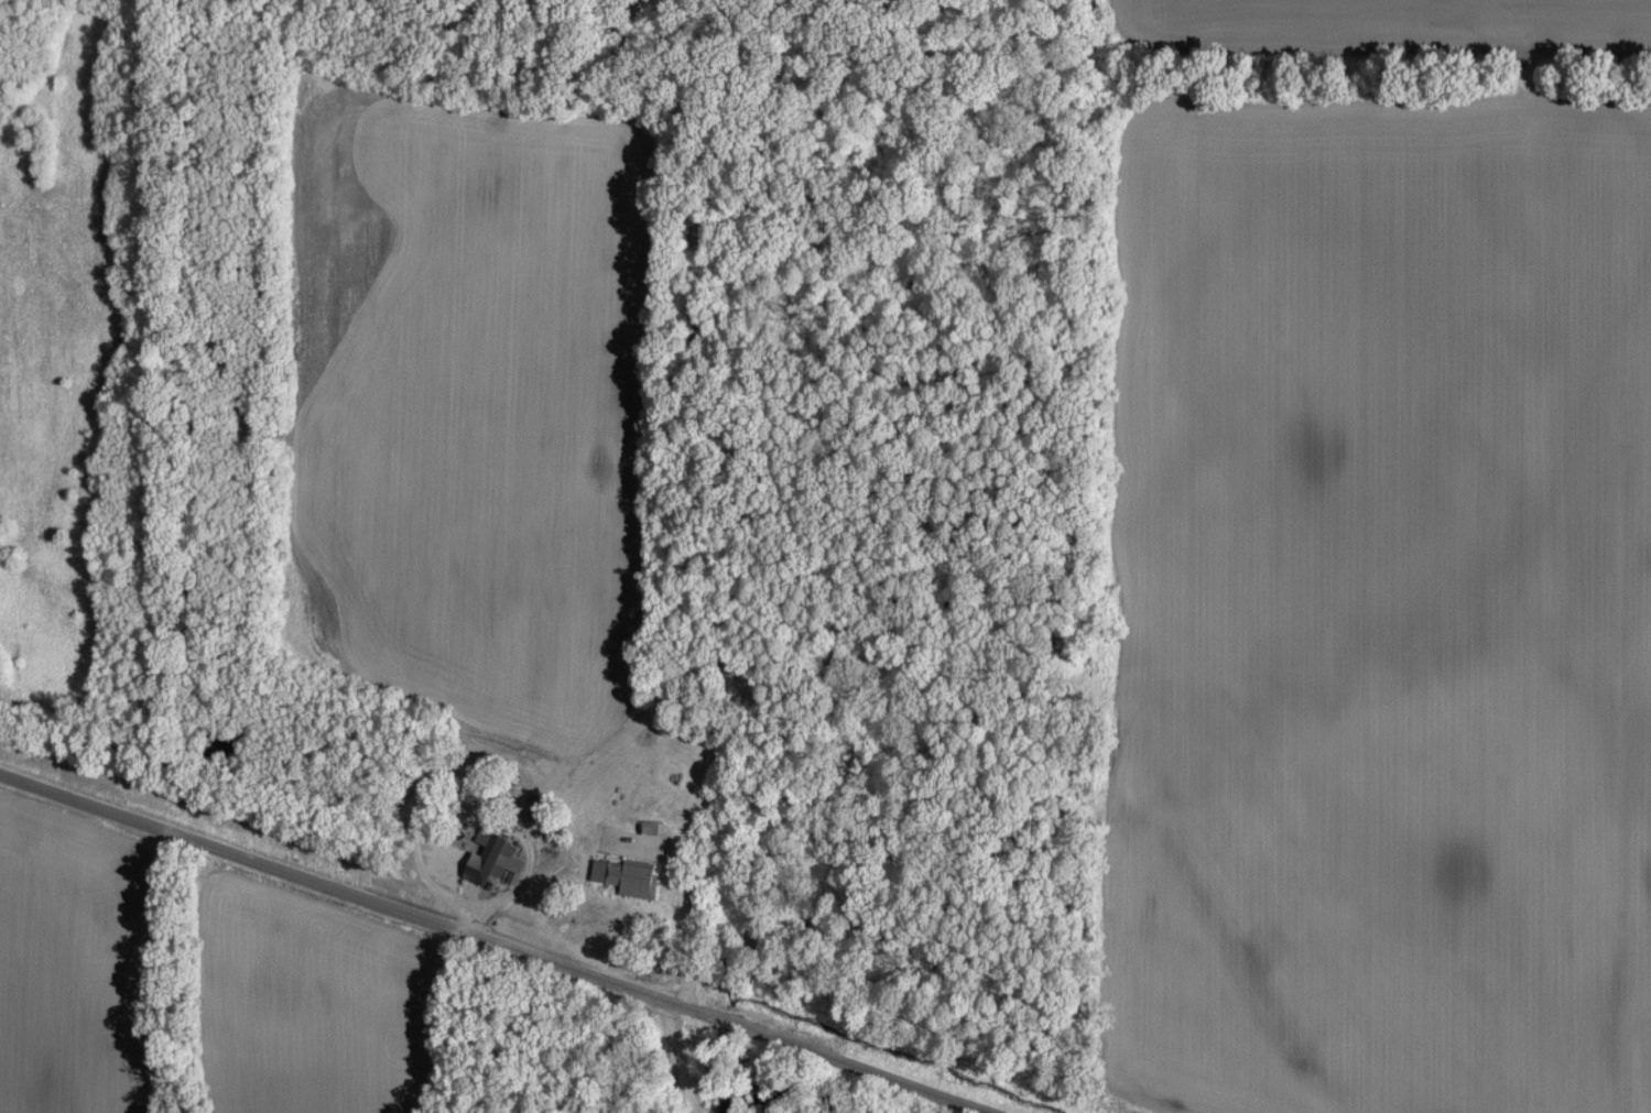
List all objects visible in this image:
building: (491, 861)
building: (626, 875)
road: (499, 942)
river: (788, 1107)

